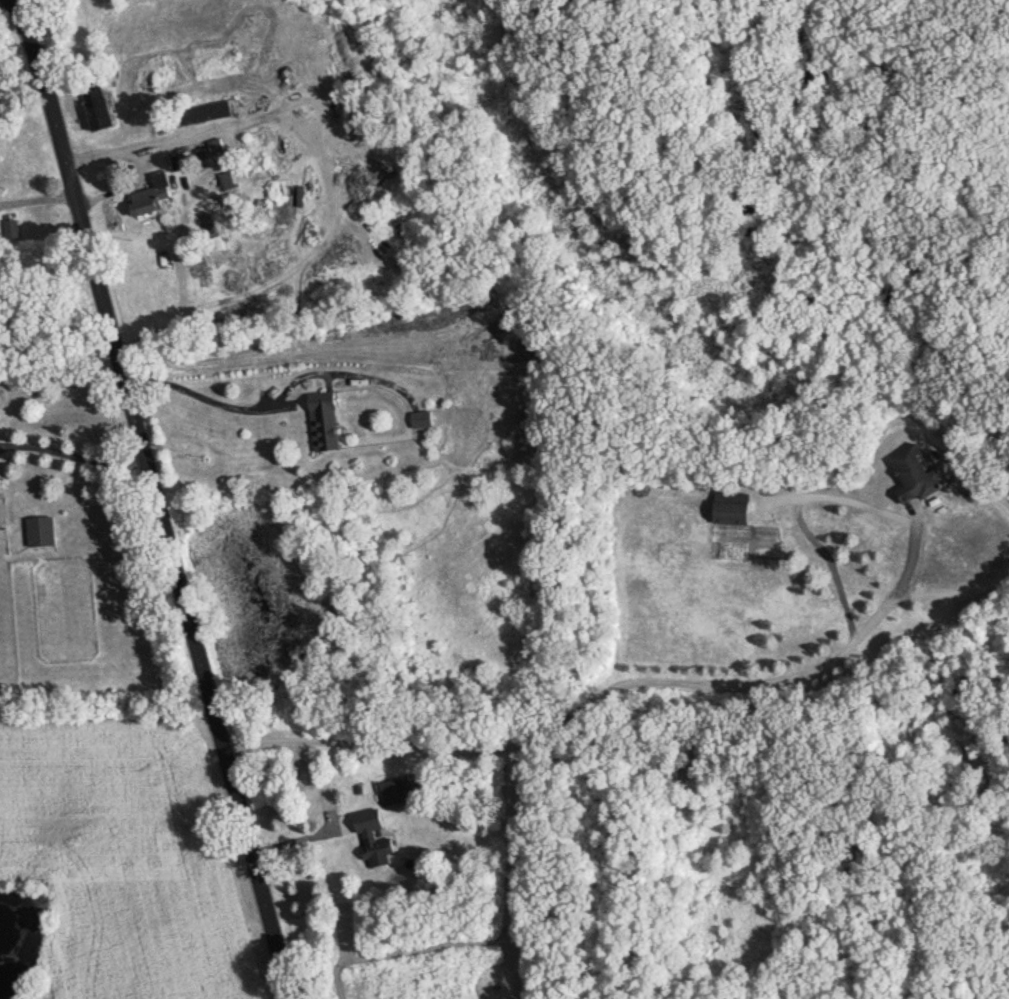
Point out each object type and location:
road: (22, 8)
road: (32, 8)
building: (101, 108)
building: (213, 109)
road: (143, 146)
building: (217, 146)
building: (153, 195)
road: (39, 198)
building: (218, 244)
road: (201, 397)
building: (421, 419)
building: (325, 422)
road: (74, 454)
building: (920, 473)
road: (982, 485)
building: (737, 507)
road: (161, 508)
building: (41, 532)
road: (957, 586)
road: (740, 684)
building: (395, 792)
building: (374, 838)

